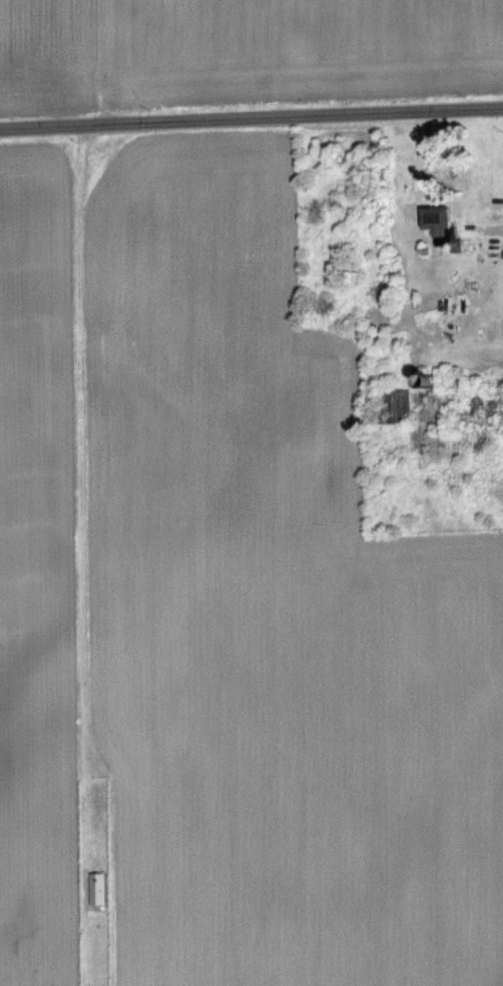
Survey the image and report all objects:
road: (251, 116)
building: (435, 224)
building: (93, 889)

